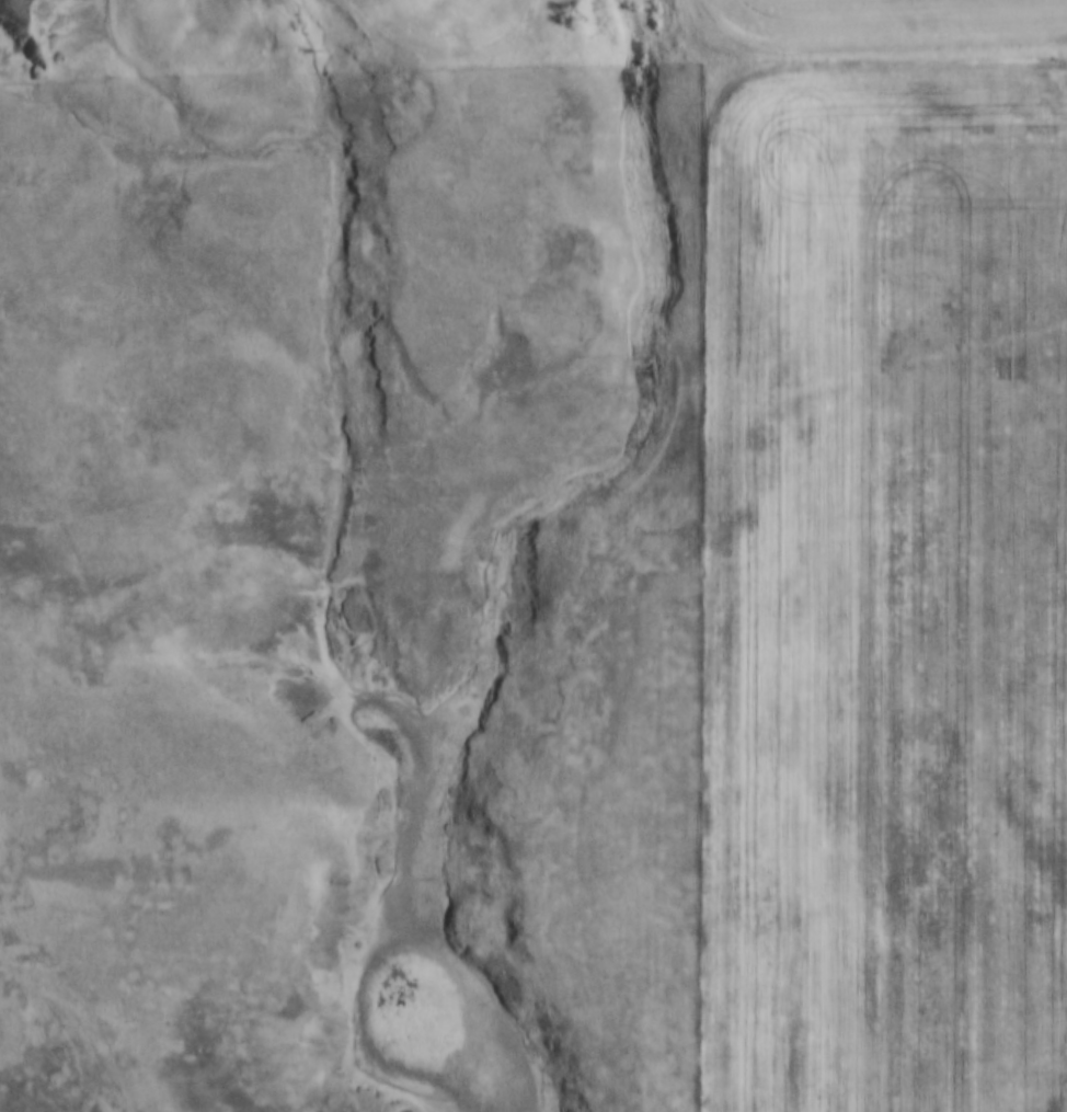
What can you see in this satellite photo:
road: (62, 1007)
road: (68, 1051)

